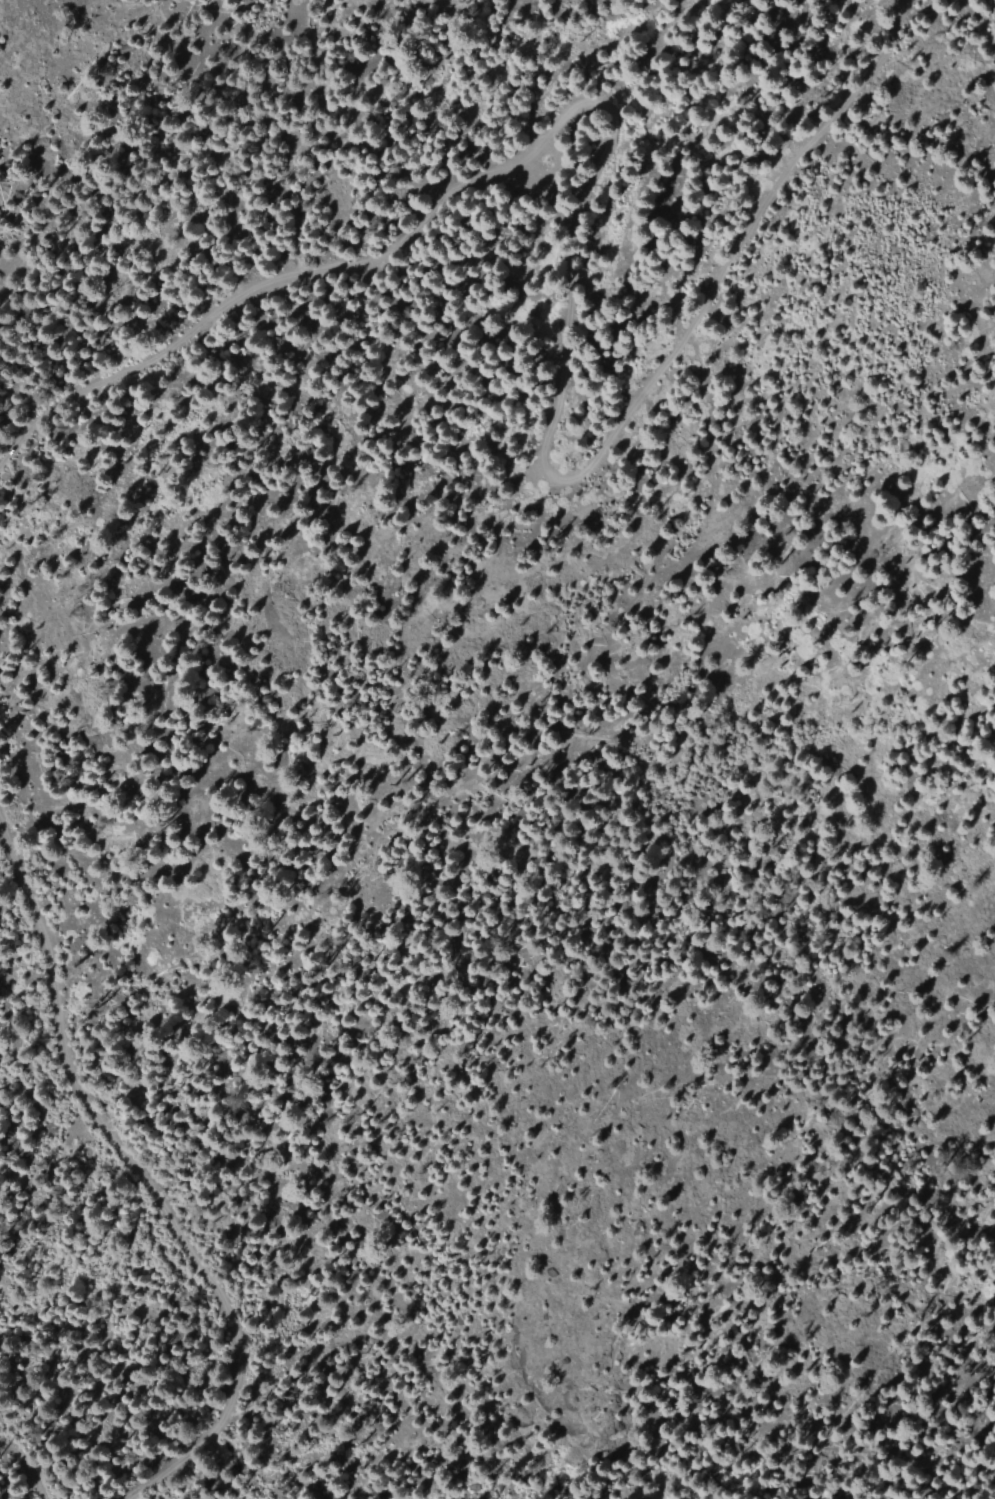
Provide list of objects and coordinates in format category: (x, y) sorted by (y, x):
road: (572, 205)
road: (148, 1175)
road: (41, 1447)

